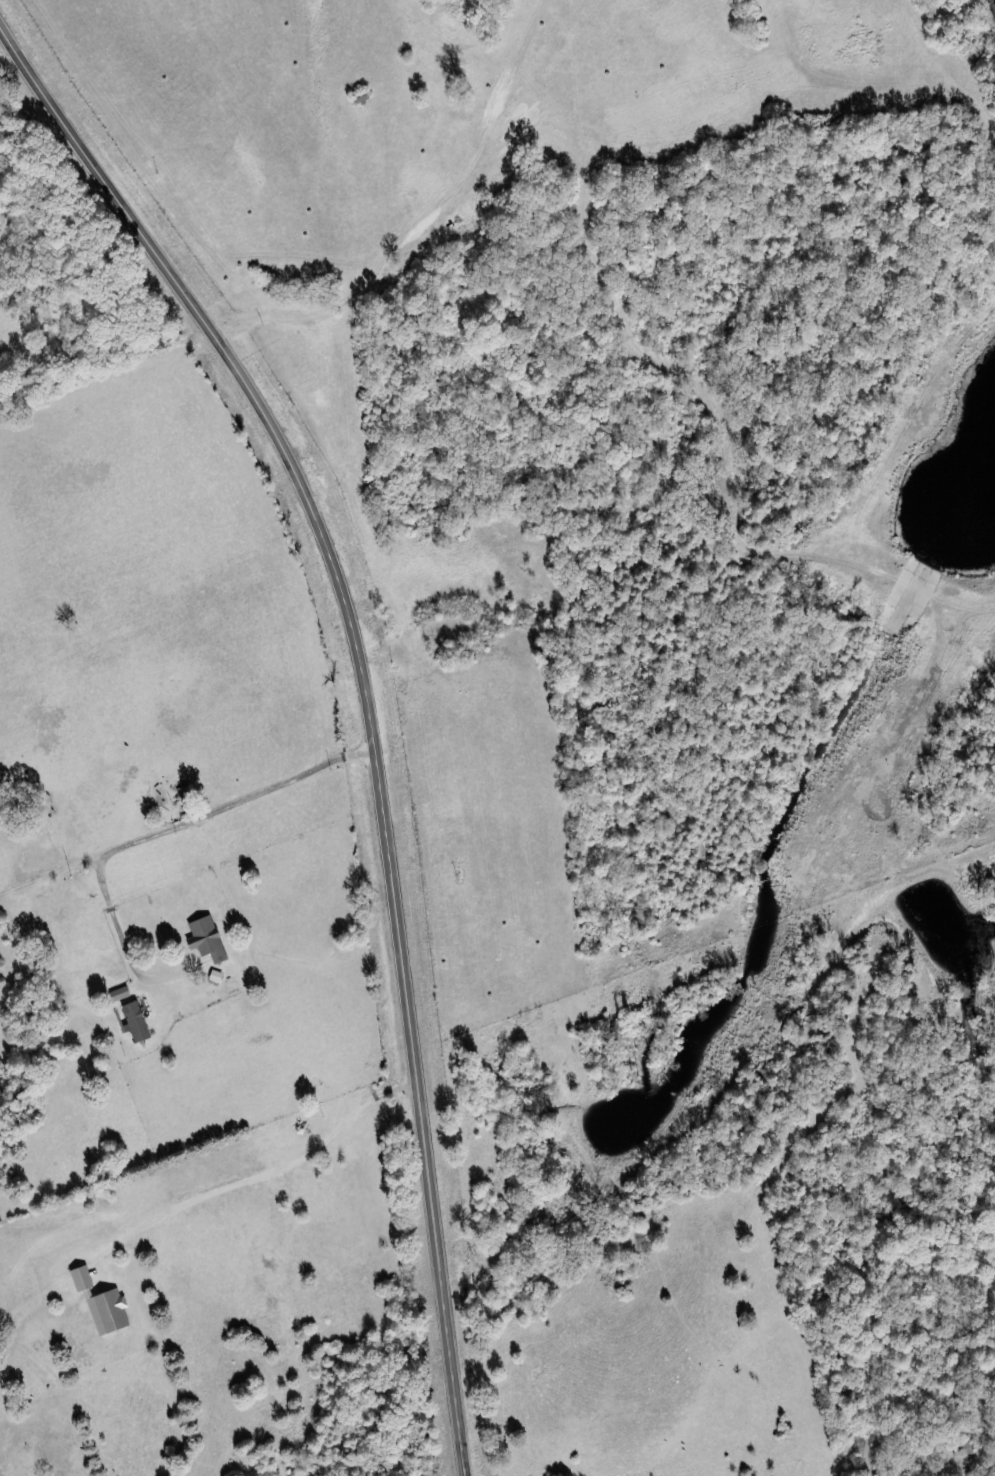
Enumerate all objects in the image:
road: (366, 702)
road: (199, 814)
building: (209, 939)
building: (218, 976)
building: (122, 994)
building: (139, 1021)
building: (82, 1279)
building: (111, 1312)
road: (866, 1449)

